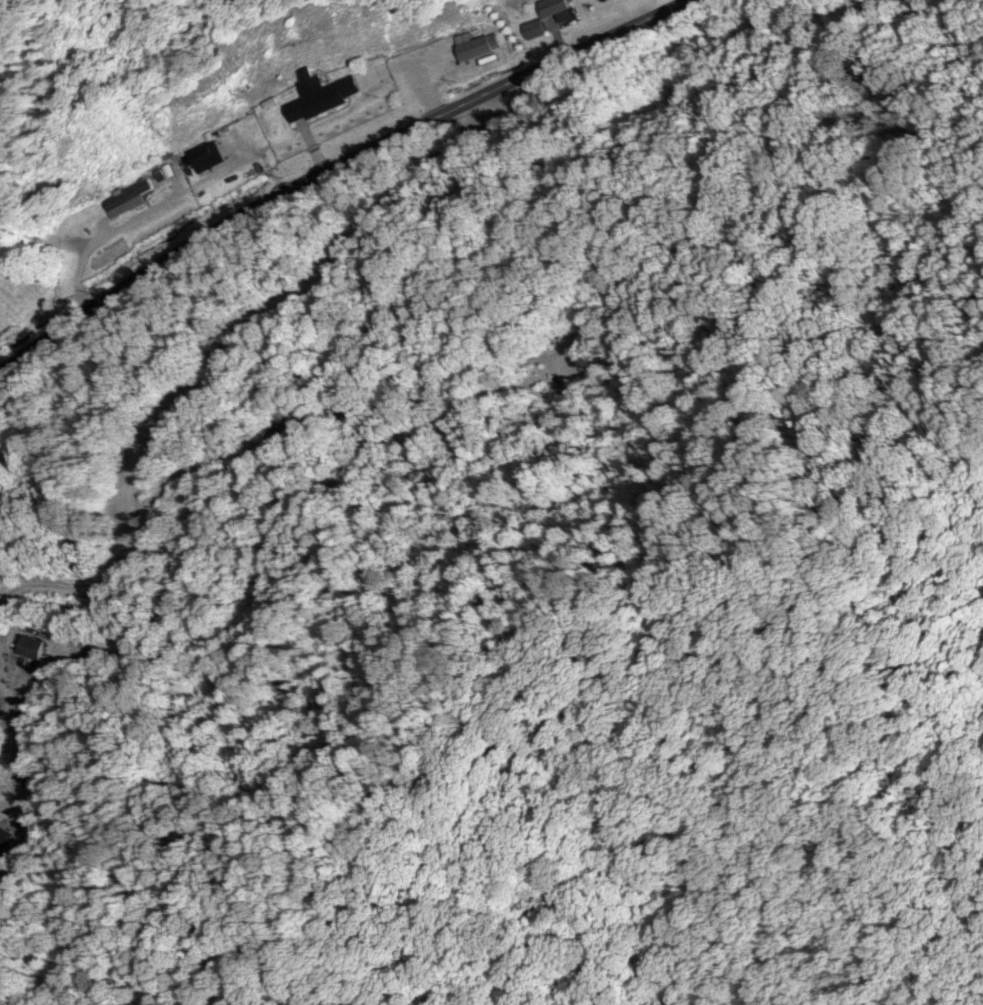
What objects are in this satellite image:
building: (555, 7)
building: (537, 29)
building: (480, 47)
building: (321, 96)
building: (227, 143)
building: (206, 155)
road: (323, 191)
building: (129, 196)
road: (512, 371)
building: (32, 647)
building: (5, 835)

